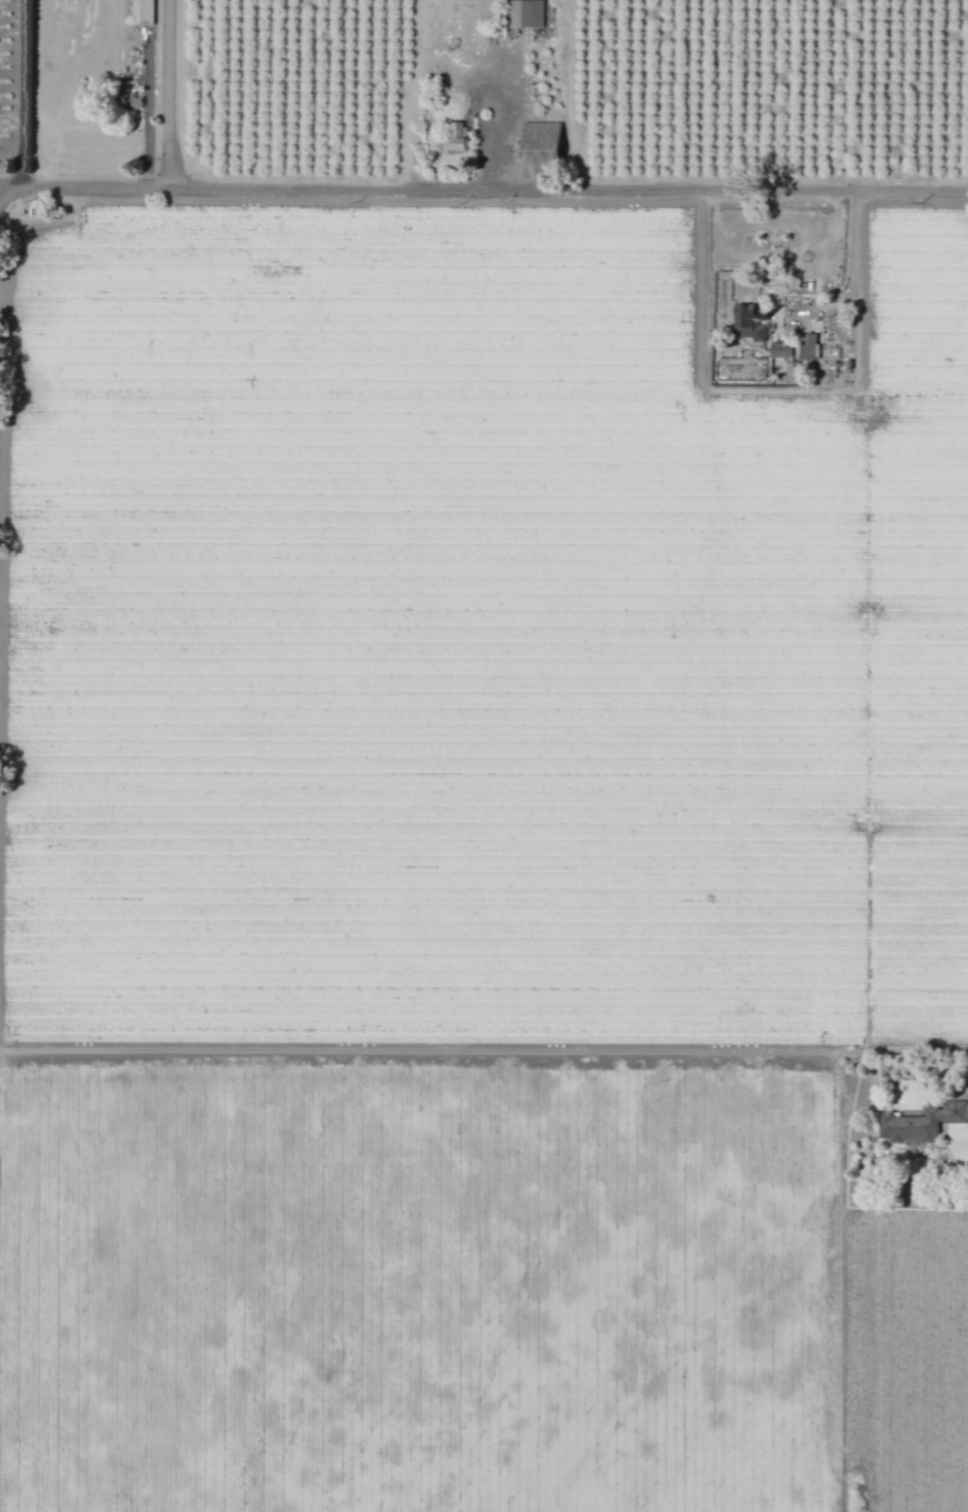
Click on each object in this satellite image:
building: (142, 12)
building: (525, 14)
road: (168, 94)
road: (25, 96)
building: (127, 97)
road: (147, 114)
building: (455, 138)
building: (540, 145)
road: (483, 187)
road: (853, 263)
building: (748, 321)
building: (807, 348)
building: (781, 350)
building: (921, 1123)

